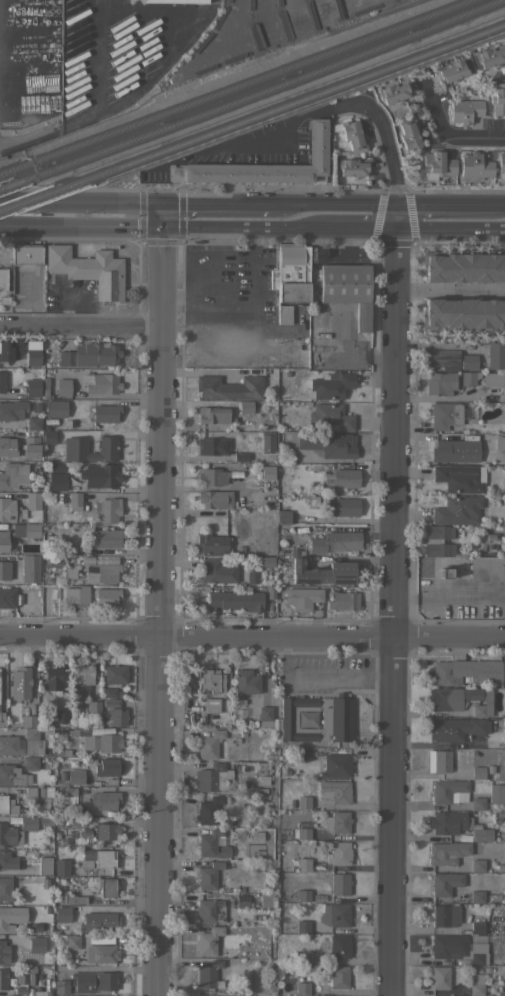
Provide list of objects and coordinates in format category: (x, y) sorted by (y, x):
building: (178, 1)
road: (7, 43)
road: (86, 55)
building: (491, 55)
road: (157, 68)
building: (452, 70)
railway: (238, 87)
building: (395, 91)
railway: (262, 93)
building: (497, 97)
railway: (287, 101)
building: (464, 109)
road: (43, 131)
building: (408, 132)
road: (442, 132)
building: (353, 136)
building: (262, 165)
building: (437, 165)
building: (501, 166)
building: (354, 167)
building: (474, 167)
railway: (9, 186)
railway: (34, 196)
road: (81, 204)
road: (360, 204)
road: (305, 205)
road: (445, 205)
road: (501, 205)
road: (223, 206)
road: (163, 216)
road: (81, 226)
road: (359, 226)
road: (449, 226)
road: (191, 227)
road: (272, 227)
building: (27, 253)
building: (464, 265)
building: (89, 269)
building: (290, 271)
building: (3, 279)
building: (347, 289)
road: (448, 289)
building: (4, 300)
building: (284, 314)
building: (464, 314)
road: (237, 316)
road: (81, 324)
building: (9, 350)
building: (90, 354)
building: (496, 355)
building: (33, 357)
building: (443, 358)
building: (468, 361)
building: (470, 378)
building: (493, 379)
building: (2, 381)
building: (441, 383)
building: (103, 384)
building: (330, 385)
building: (33, 387)
building: (229, 387)
building: (63, 388)
building: (246, 406)
building: (35, 407)
building: (55, 408)
building: (12, 409)
building: (103, 413)
building: (213, 414)
building: (332, 415)
building: (445, 415)
building: (34, 423)
building: (27, 434)
building: (48, 437)
building: (267, 443)
building: (329, 443)
building: (500, 443)
building: (7, 446)
building: (212, 446)
building: (105, 448)
building: (455, 450)
building: (31, 451)
road: (390, 468)
building: (267, 472)
building: (13, 475)
building: (100, 475)
building: (218, 476)
building: (458, 477)
building: (55, 478)
building: (341, 478)
building: (215, 498)
building: (33, 500)
building: (75, 500)
building: (343, 506)
building: (108, 509)
building: (10, 510)
building: (458, 510)
building: (283, 516)
building: (26, 529)
building: (489, 536)
building: (106, 537)
building: (437, 539)
building: (4, 540)
building: (335, 541)
building: (213, 544)
building: (266, 561)
building: (31, 568)
building: (101, 568)
building: (486, 568)
building: (4, 569)
building: (218, 571)
building: (323, 572)
building: (443, 573)
building: (252, 577)
building: (76, 594)
building: (106, 596)
road: (449, 596)
building: (8, 597)
building: (303, 597)
building: (236, 600)
building: (344, 600)
road: (161, 611)
road: (252, 636)
building: (467, 672)
building: (115, 673)
building: (52, 678)
building: (210, 680)
building: (20, 682)
building: (246, 682)
building: (80, 683)
building: (109, 692)
building: (462, 699)
building: (111, 702)
building: (212, 705)
building: (93, 707)
building: (60, 715)
building: (117, 716)
building: (265, 716)
building: (2, 718)
building: (317, 718)
building: (29, 720)
building: (456, 728)
building: (97, 740)
building: (23, 742)
building: (209, 744)
building: (63, 753)
building: (304, 753)
building: (443, 760)
building: (31, 763)
building: (336, 765)
building: (108, 767)
building: (478, 772)
building: (13, 775)
building: (61, 775)
building: (76, 776)
building: (213, 778)
building: (335, 791)
building: (449, 791)
building: (29, 792)
building: (496, 793)
building: (69, 795)
building: (104, 799)
building: (303, 802)
building: (478, 803)
building: (7, 805)
building: (209, 810)
building: (499, 814)
building: (338, 822)
building: (447, 822)
building: (28, 823)
building: (107, 831)
building: (301, 833)
building: (480, 834)
building: (9, 835)
building: (212, 844)
building: (452, 851)
building: (339, 853)
building: (98, 858)
building: (7, 860)
building: (303, 864)
building: (45, 865)
building: (477, 865)
building: (61, 866)
building: (29, 867)
building: (209, 875)
building: (44, 882)
building: (340, 883)
building: (445, 883)
building: (107, 887)
building: (5, 888)
building: (302, 895)
building: (477, 896)
building: (71, 898)
building: (242, 900)
building: (209, 911)
building: (62, 913)
building: (335, 915)
building: (446, 915)
building: (11, 917)
building: (99, 920)
building: (477, 925)
building: (302, 926)
building: (208, 940)
building: (72, 942)
building: (36, 944)
building: (338, 946)
building: (458, 949)
building: (3, 953)
building: (101, 954)
building: (303, 957)
building: (208, 973)
building: (32, 976)
building: (339, 977)
building: (440, 977)
building: (5, 980)
building: (19, 980)
building: (94, 981)
building: (476, 983)
building: (61, 986)
building: (302, 987)
building: (19, 991)
building: (42, 993)
building: (242, 993)
building: (205, 995)
building: (299, 995)

